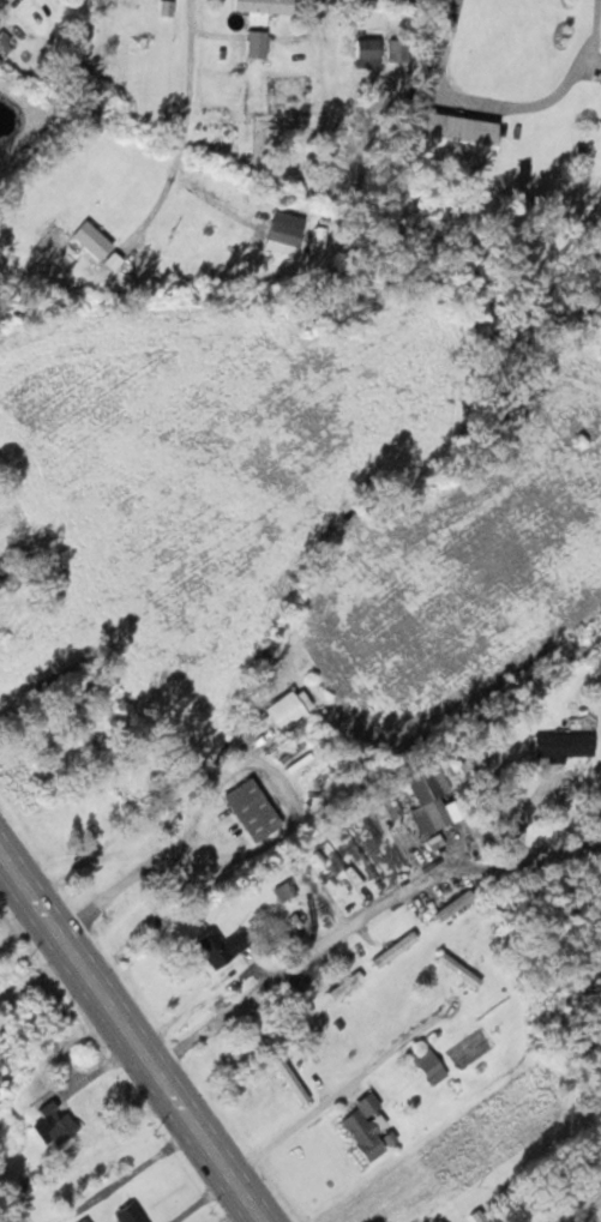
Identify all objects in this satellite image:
building: (262, 6)
building: (451, 137)
building: (283, 227)
building: (91, 240)
building: (284, 710)
building: (561, 745)
building: (120, 790)
building: (431, 791)
building: (251, 808)
building: (399, 831)
building: (283, 891)
building: (452, 904)
road: (362, 915)
building: (221, 946)
building: (393, 949)
building: (457, 969)
building: (344, 985)
road: (134, 1030)
building: (429, 1066)
building: (290, 1082)
building: (55, 1122)
building: (363, 1126)
building: (128, 1214)
building: (85, 1220)

